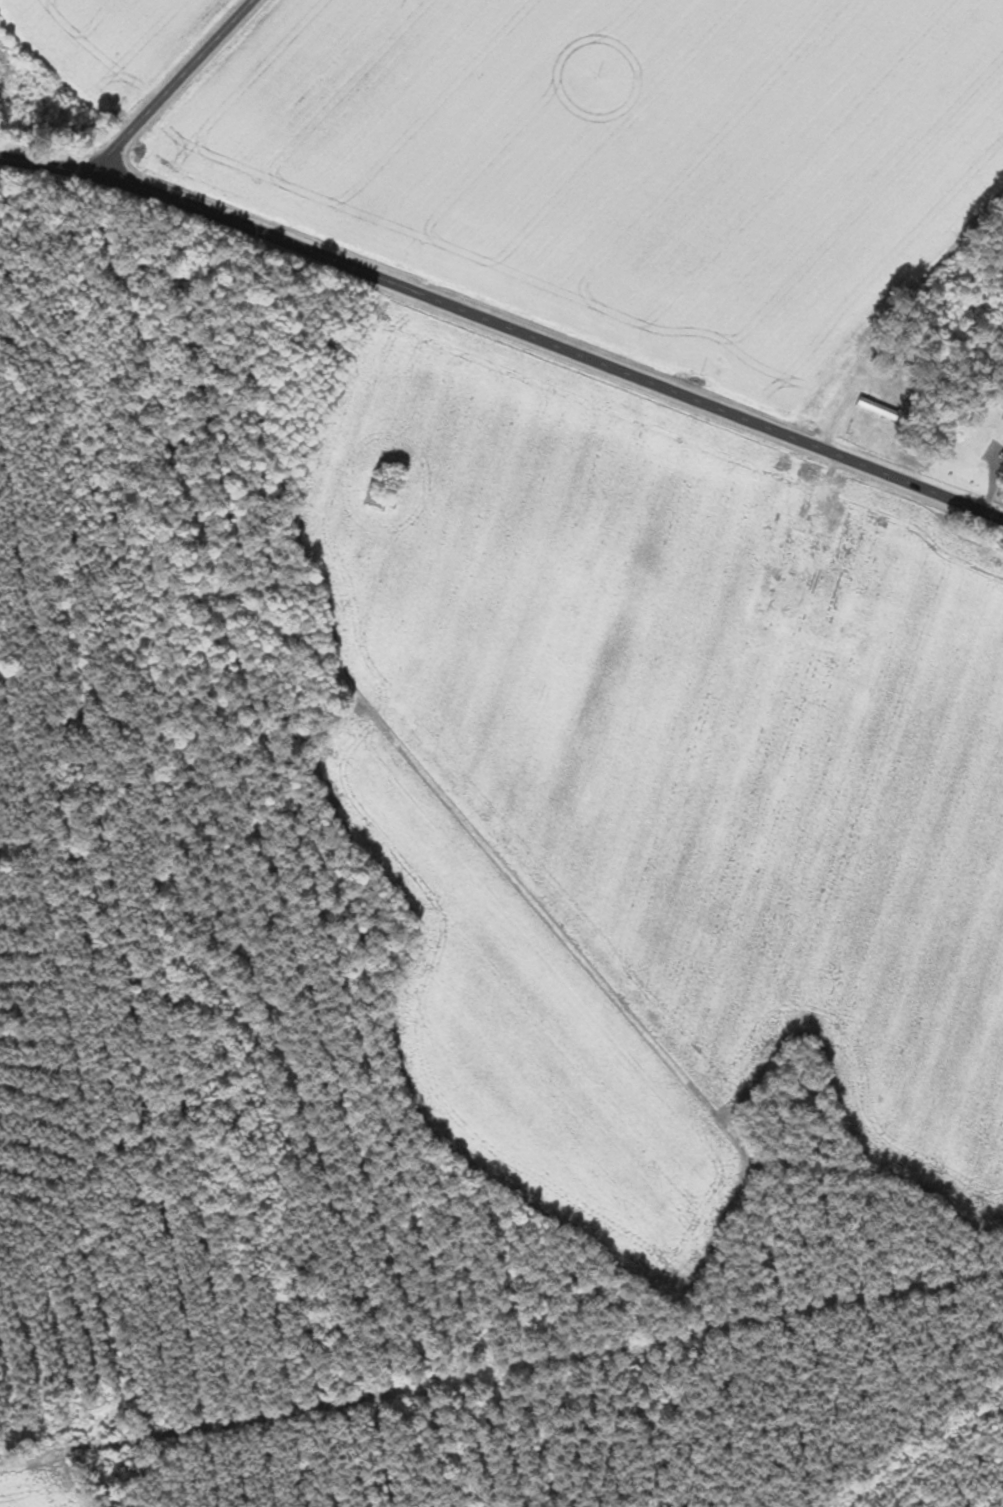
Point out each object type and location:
road: (173, 87)
road: (505, 326)
building: (856, 387)
building: (999, 466)

